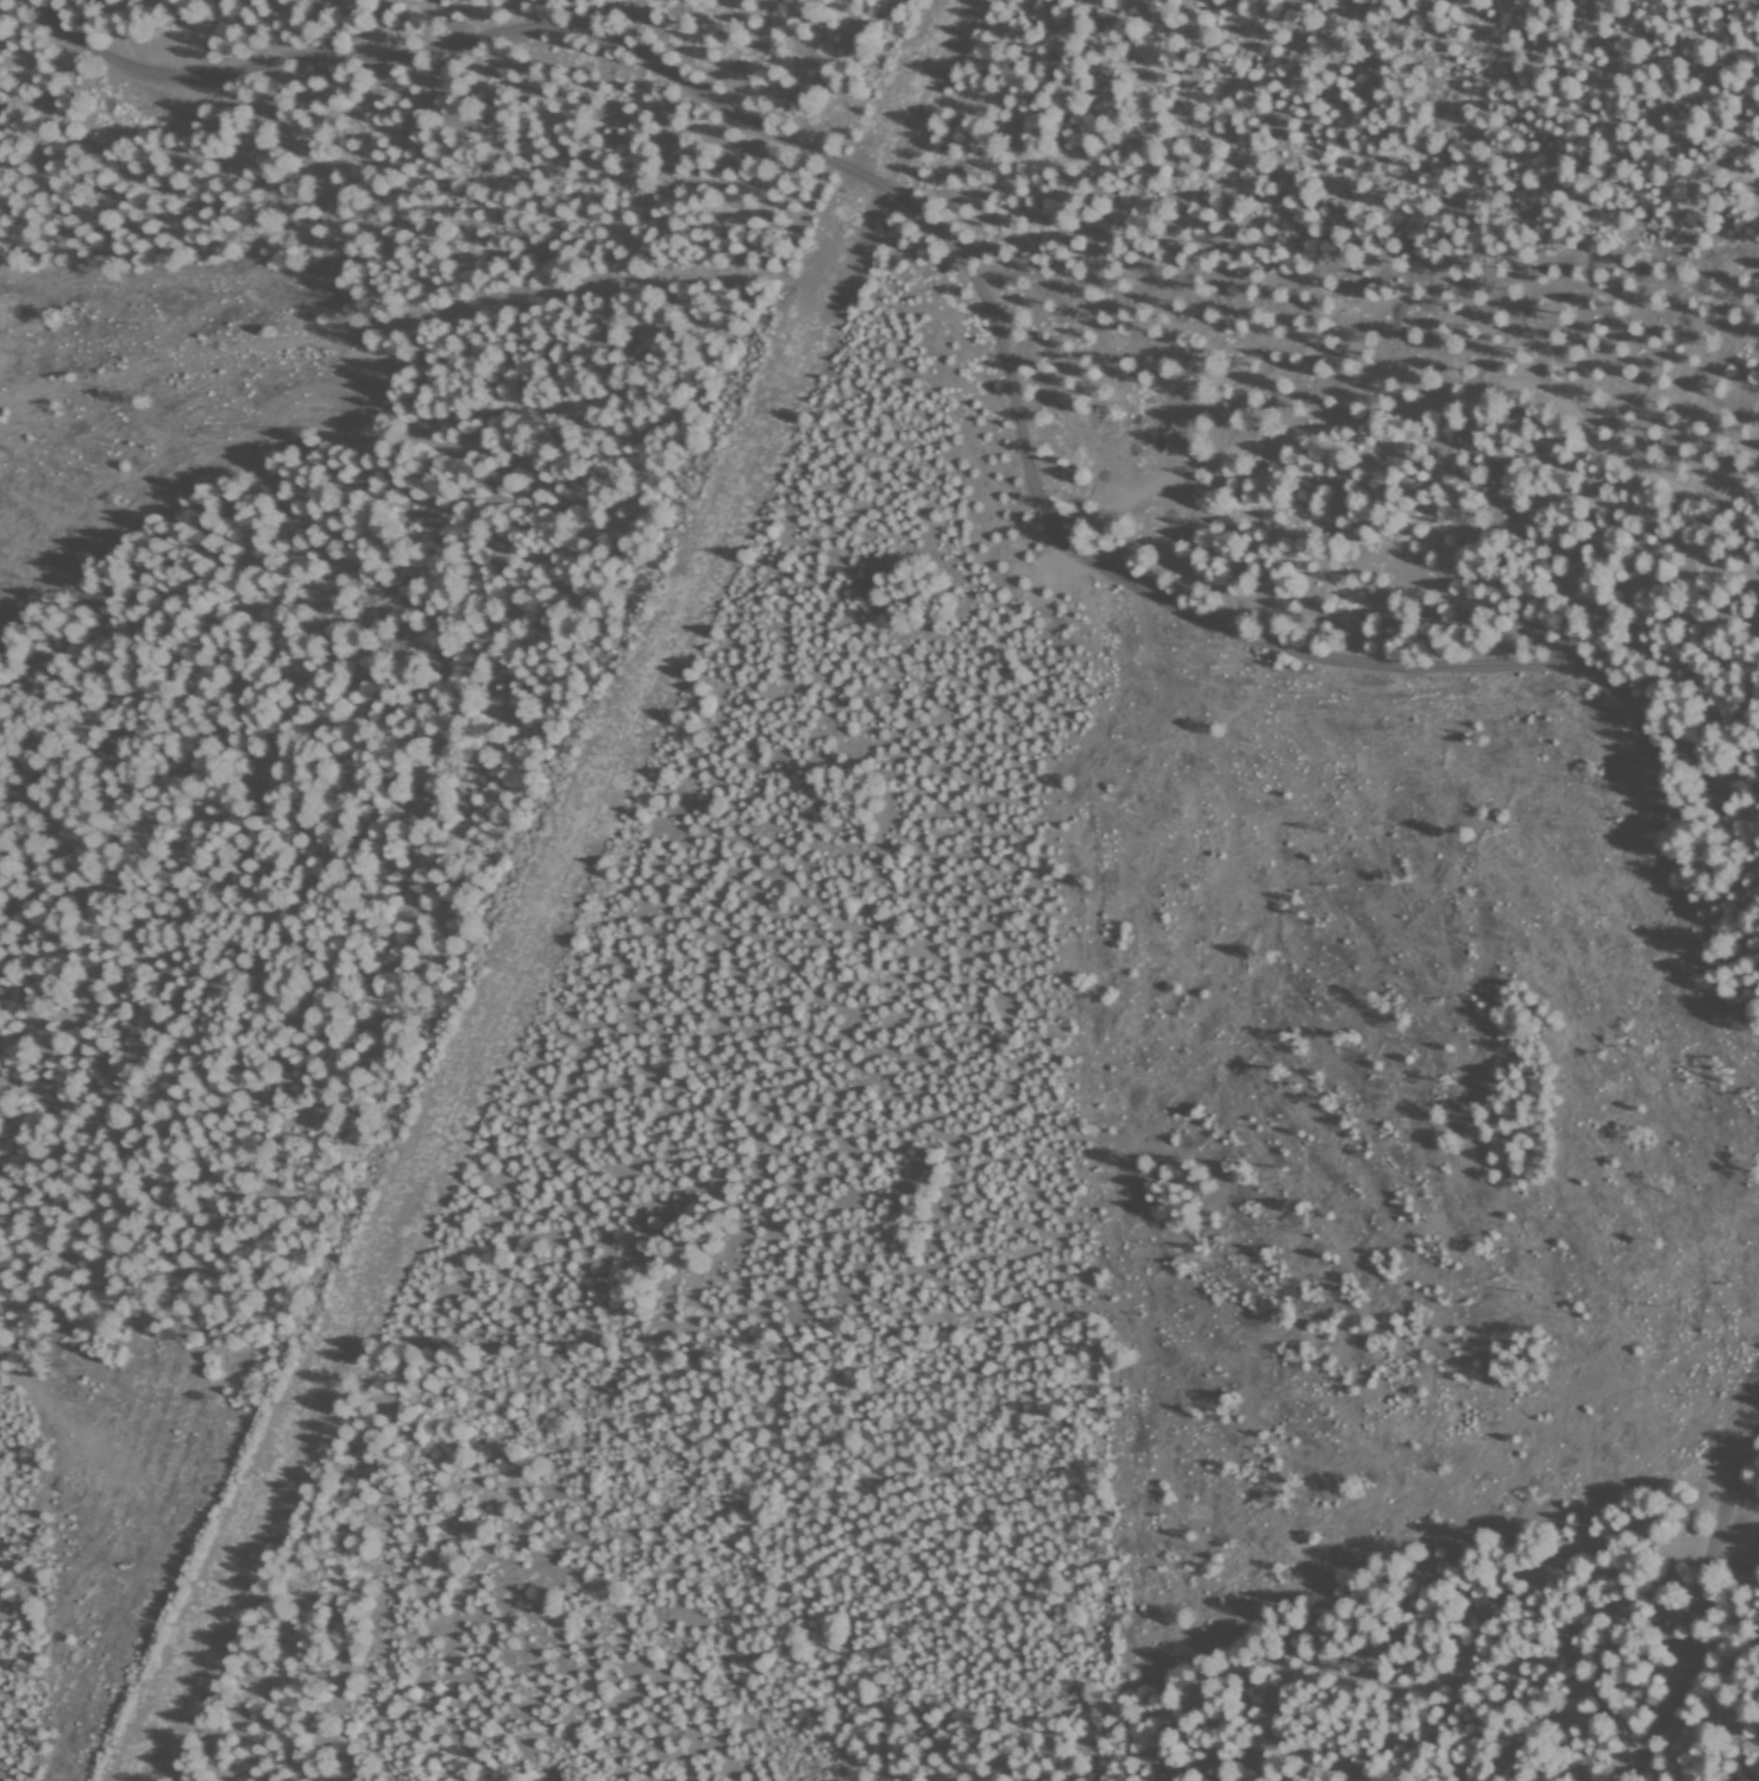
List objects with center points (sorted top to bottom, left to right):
road: (1005, 378)
road: (1621, 489)
road: (552, 892)
road: (1707, 1613)

